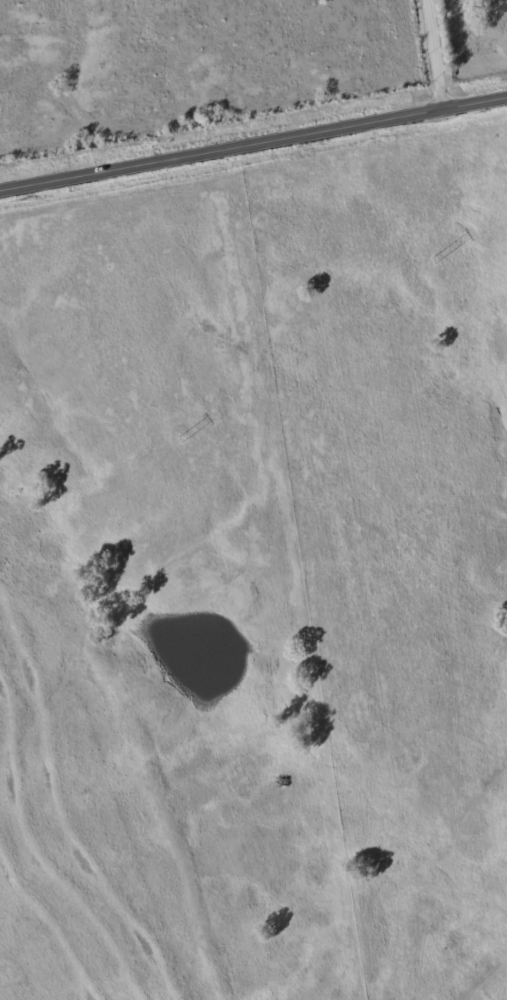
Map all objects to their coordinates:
road: (433, 55)
road: (253, 145)
power tower: (434, 260)
power tower: (181, 438)

